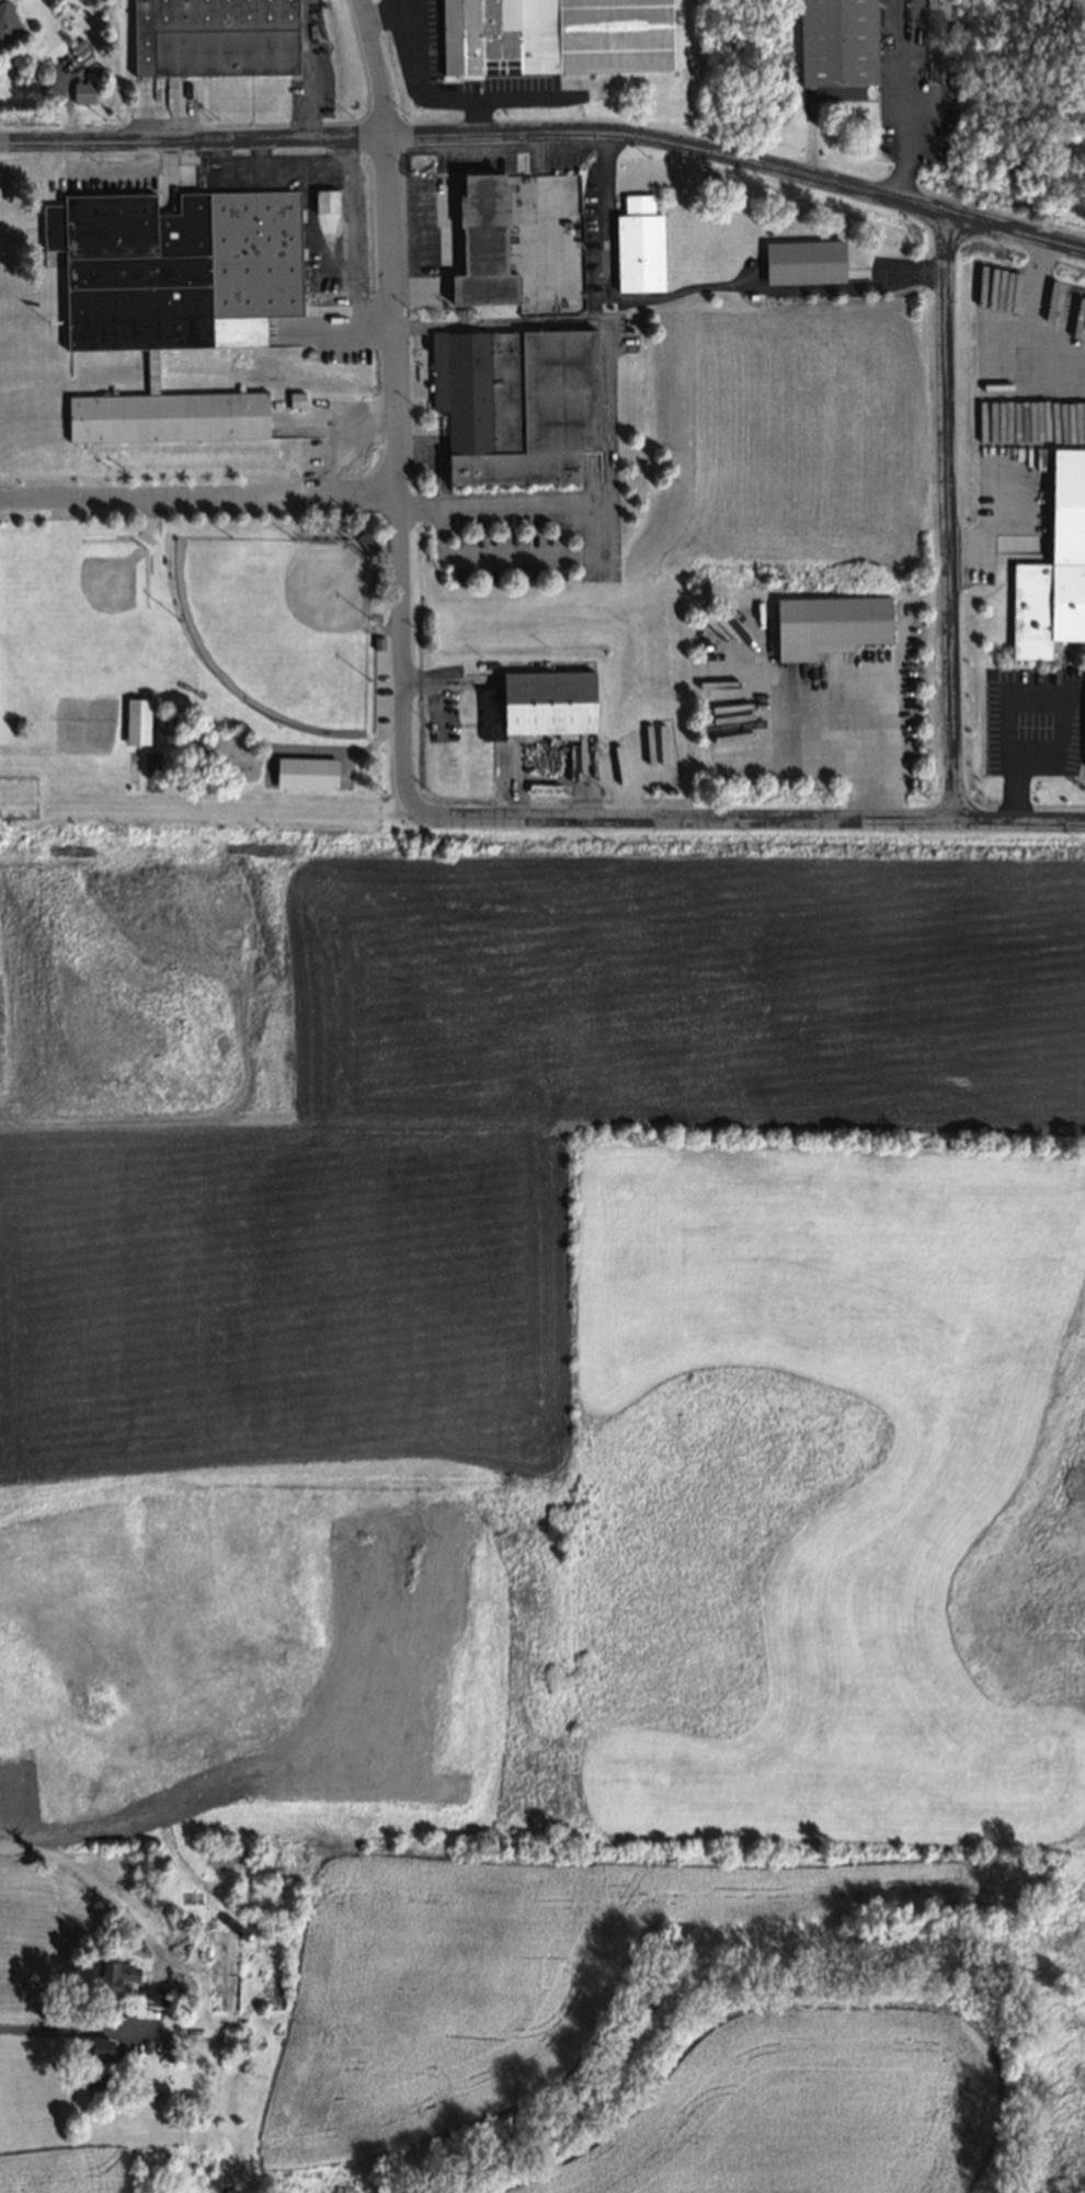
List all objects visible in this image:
road: (384, 13)
building: (5, 22)
building: (552, 35)
building: (213, 37)
building: (837, 44)
road: (426, 90)
building: (83, 91)
road: (309, 100)
road: (906, 101)
road: (549, 135)
building: (321, 199)
building: (480, 237)
building: (635, 244)
building: (801, 256)
road: (692, 285)
building: (170, 298)
road: (1032, 311)
building: (295, 396)
building: (513, 404)
road: (606, 411)
road: (391, 412)
road: (197, 494)
road: (953, 527)
road: (991, 533)
building: (365, 542)
road: (526, 552)
building: (1053, 566)
park: (77, 609)
building: (825, 620)
park: (281, 627)
park: (199, 672)
parking lot: (386, 686)
building: (536, 701)
building: (134, 719)
park: (83, 726)
road: (868, 750)
building: (302, 770)
road: (755, 830)
building: (219, 1853)
road: (96, 1885)
building: (186, 1897)
building: (243, 1938)
building: (217, 1967)
building: (110, 1975)
building: (150, 1995)
road: (47, 2028)
building: (229, 2040)
building: (165, 2053)
building: (95, 2068)

